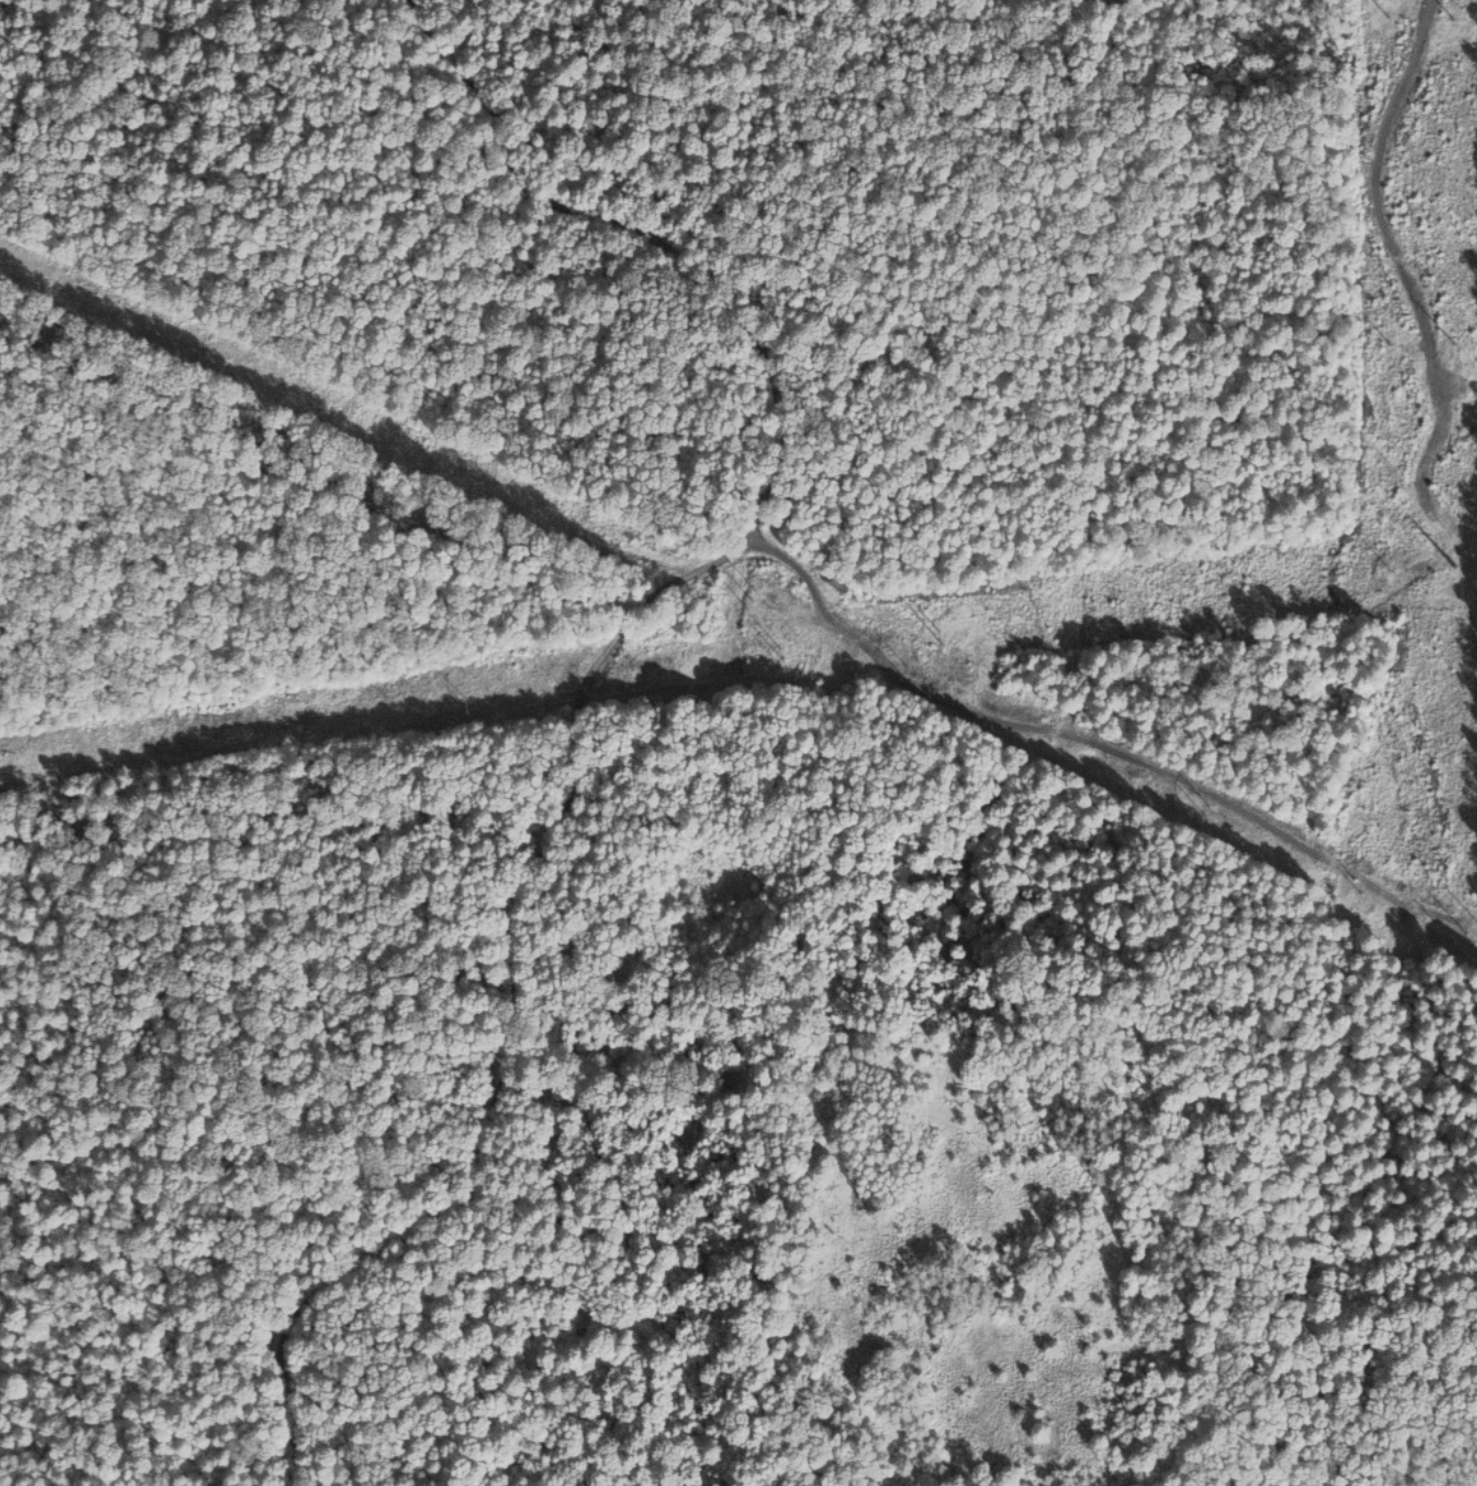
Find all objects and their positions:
road: (649, 253)
road: (819, 800)
road: (520, 1041)

